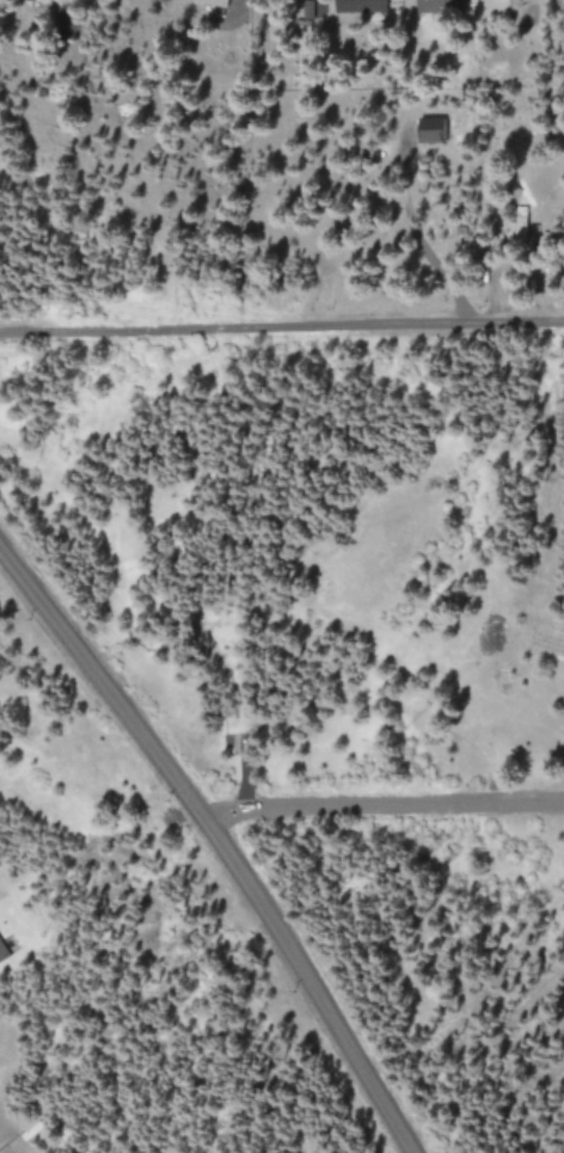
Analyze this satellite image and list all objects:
building: (216, 2)
building: (441, 5)
building: (434, 130)
road: (282, 331)
road: (387, 812)
road: (222, 840)
building: (2, 951)

